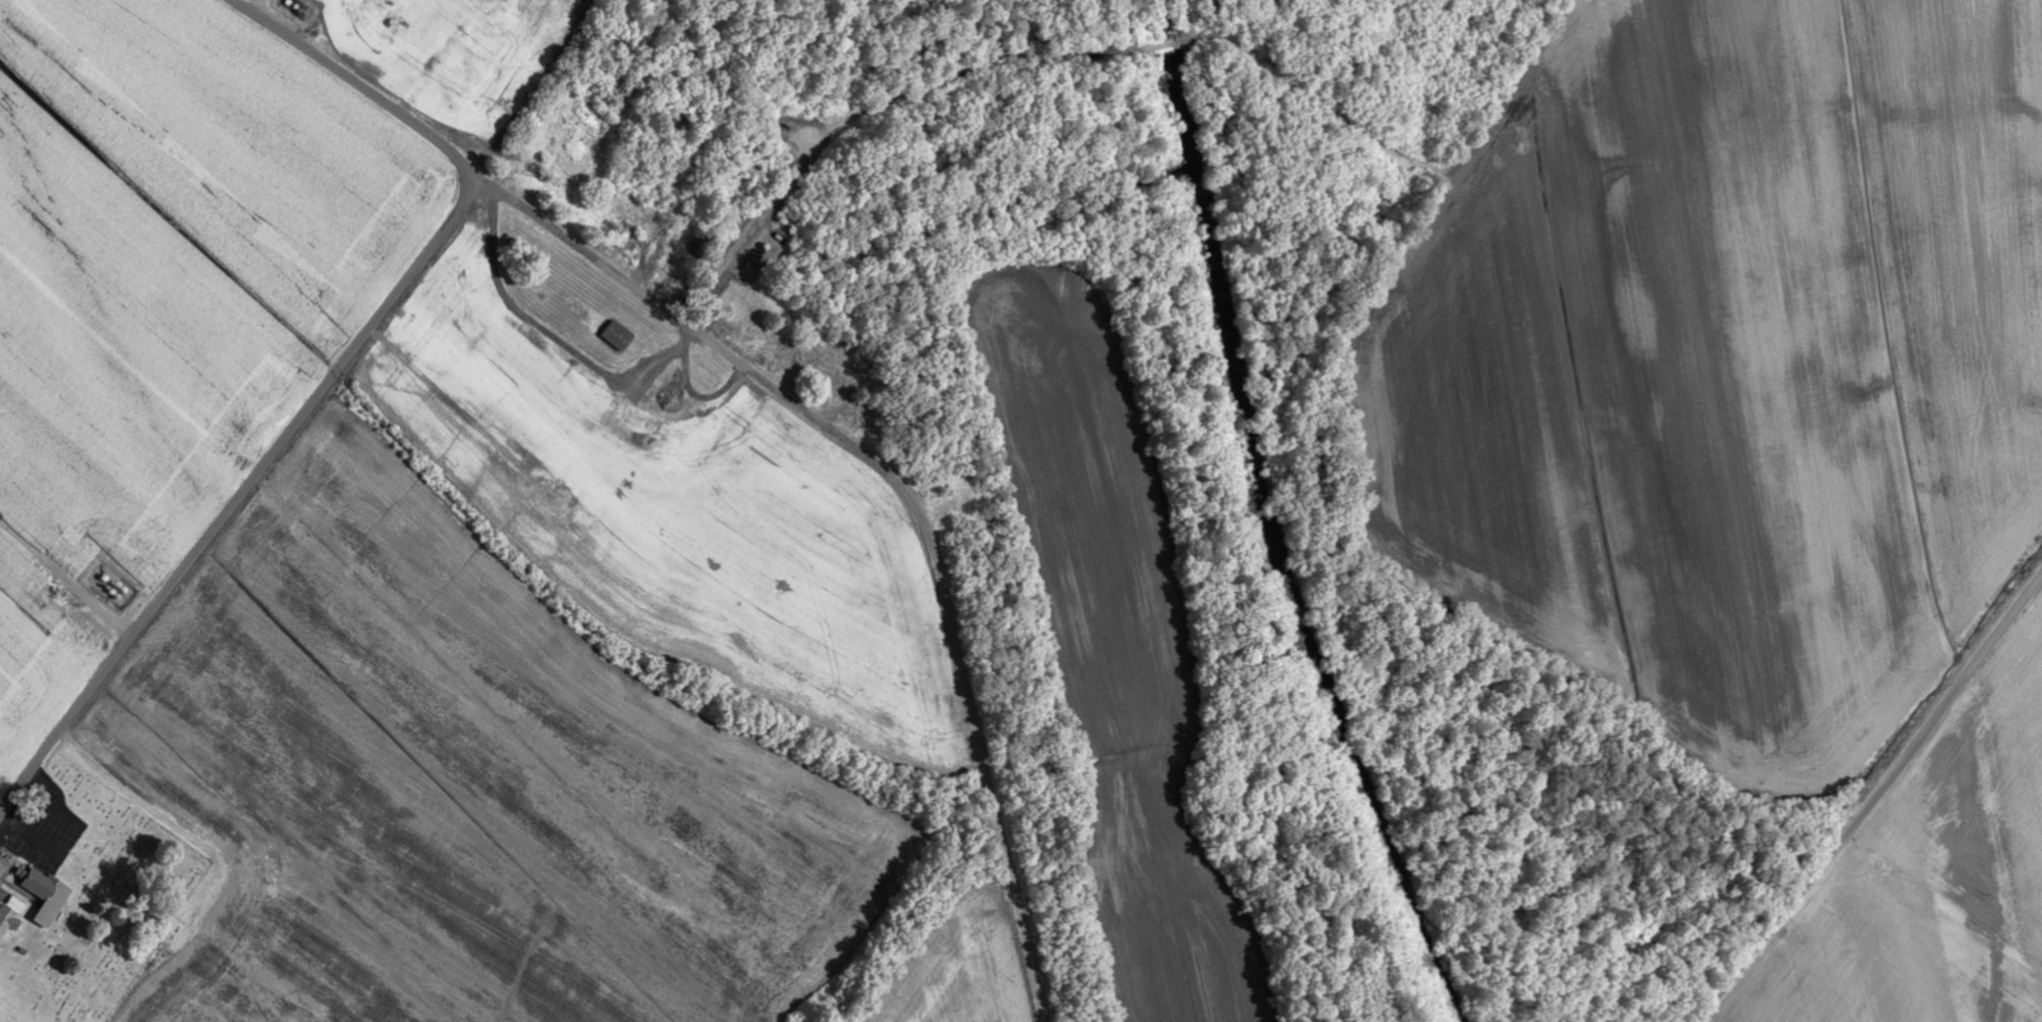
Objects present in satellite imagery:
road: (359, 84)
building: (619, 336)
road: (239, 495)
road: (908, 501)
road: (1873, 801)
building: (48, 896)
park: (109, 903)

